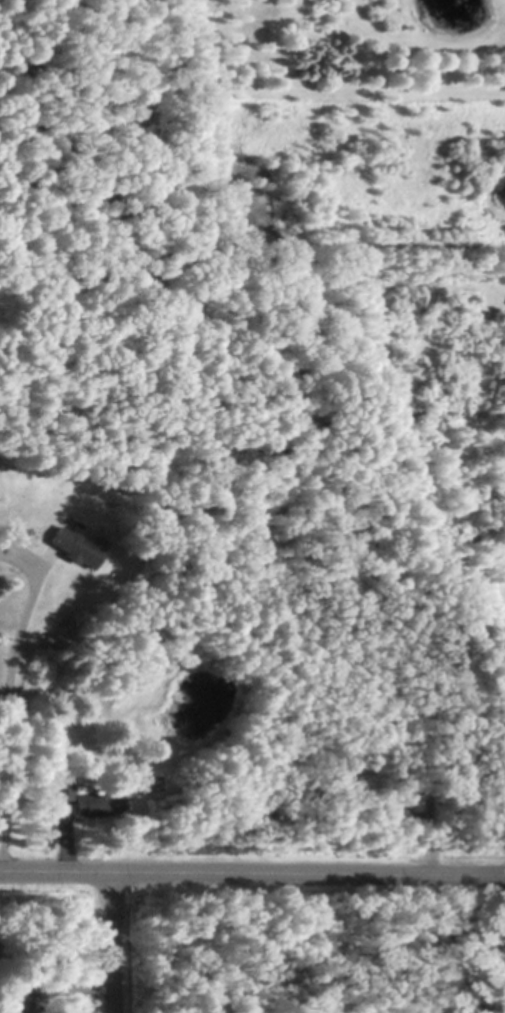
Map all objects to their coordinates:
building: (79, 542)
road: (10, 721)
building: (64, 791)
building: (417, 802)
building: (97, 803)
road: (252, 872)
road: (117, 942)
road: (481, 945)
building: (16, 1000)

